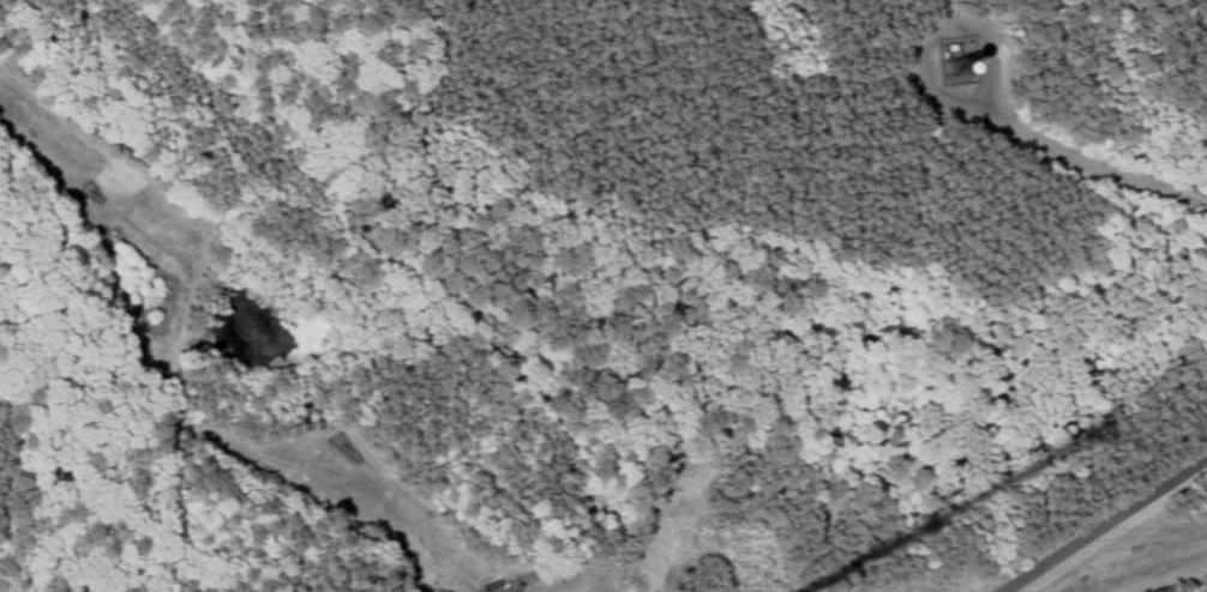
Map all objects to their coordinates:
road: (1081, 151)
road: (1100, 522)

